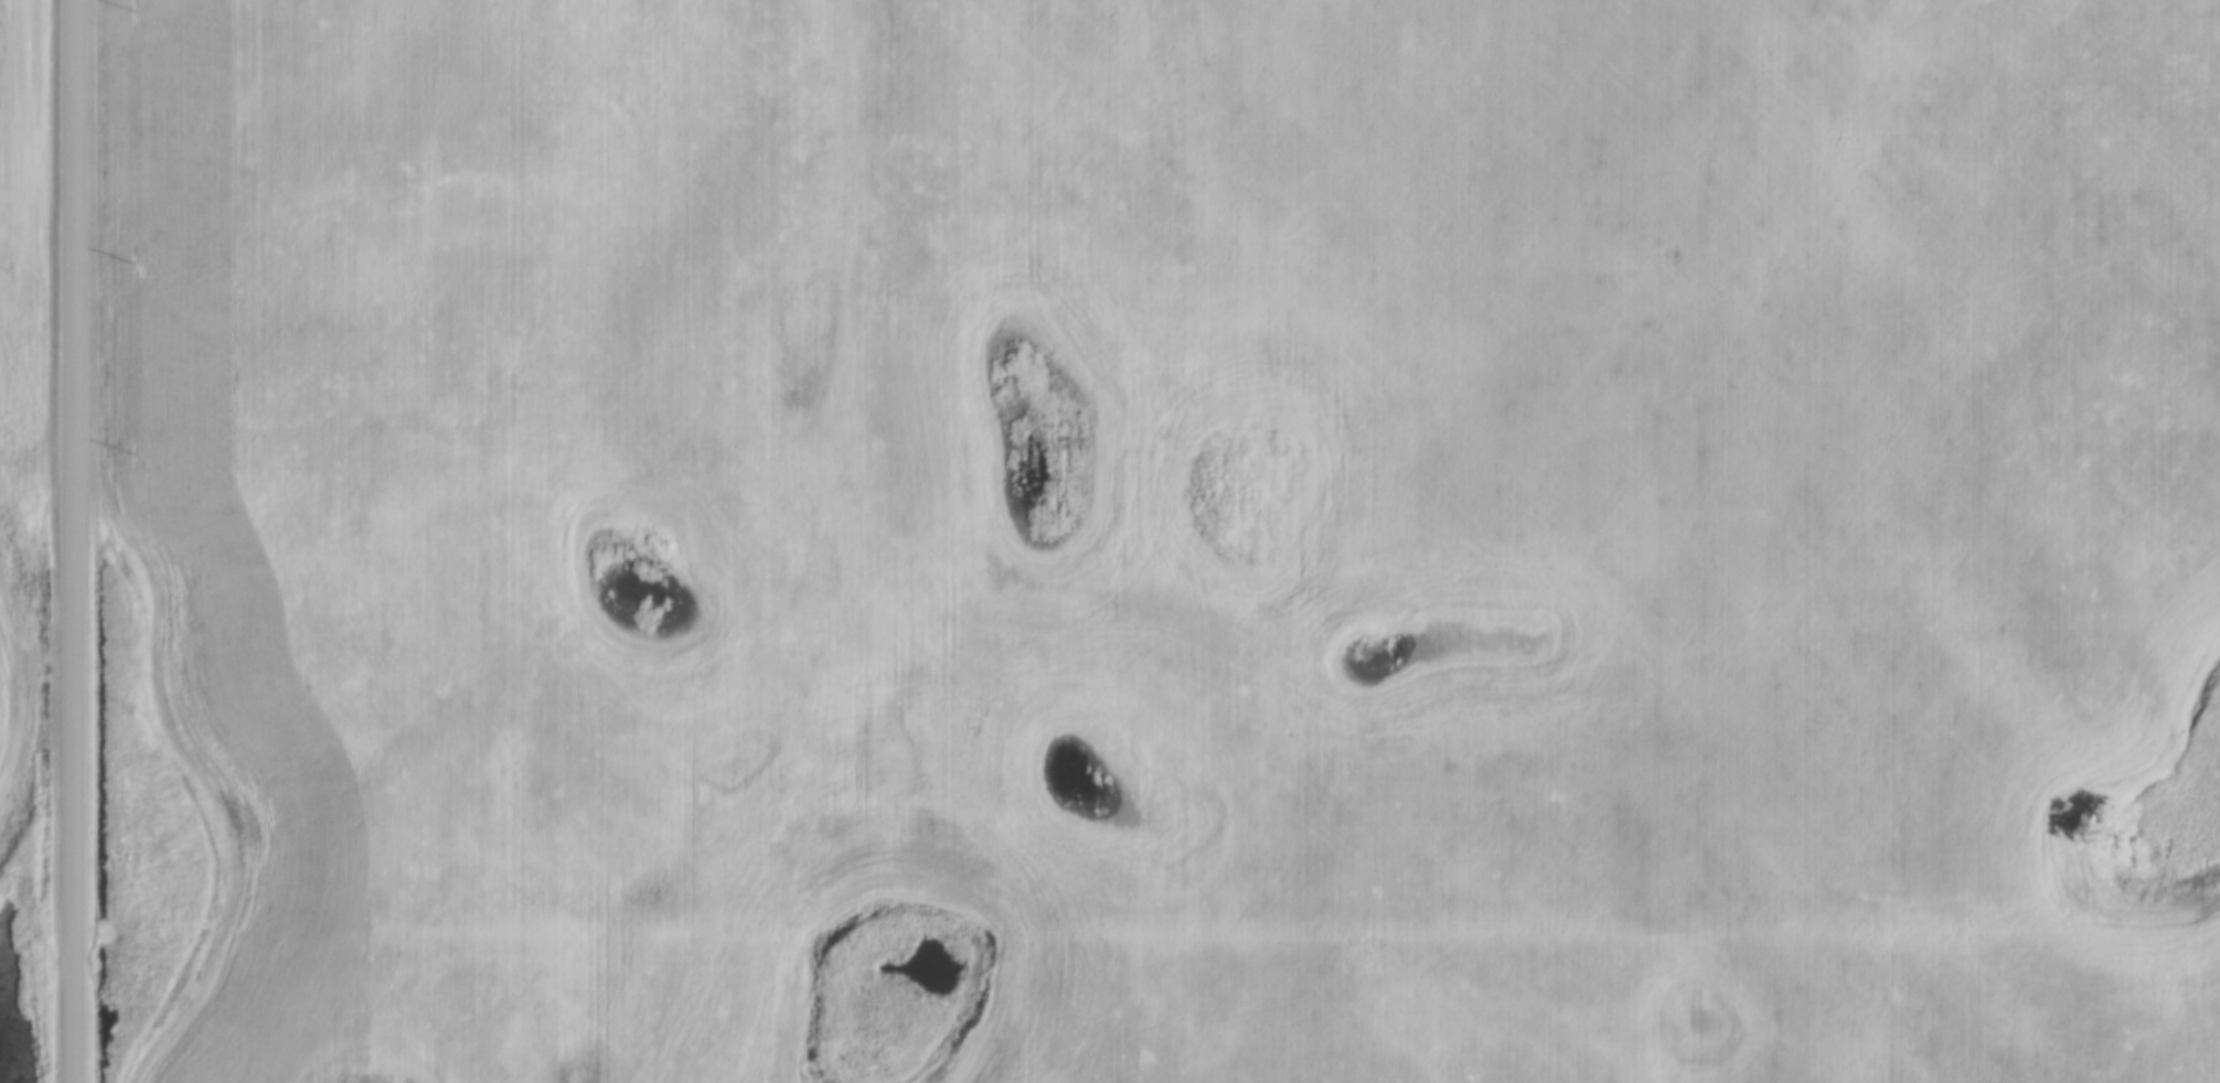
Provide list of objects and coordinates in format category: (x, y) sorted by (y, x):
road: (73, 540)

